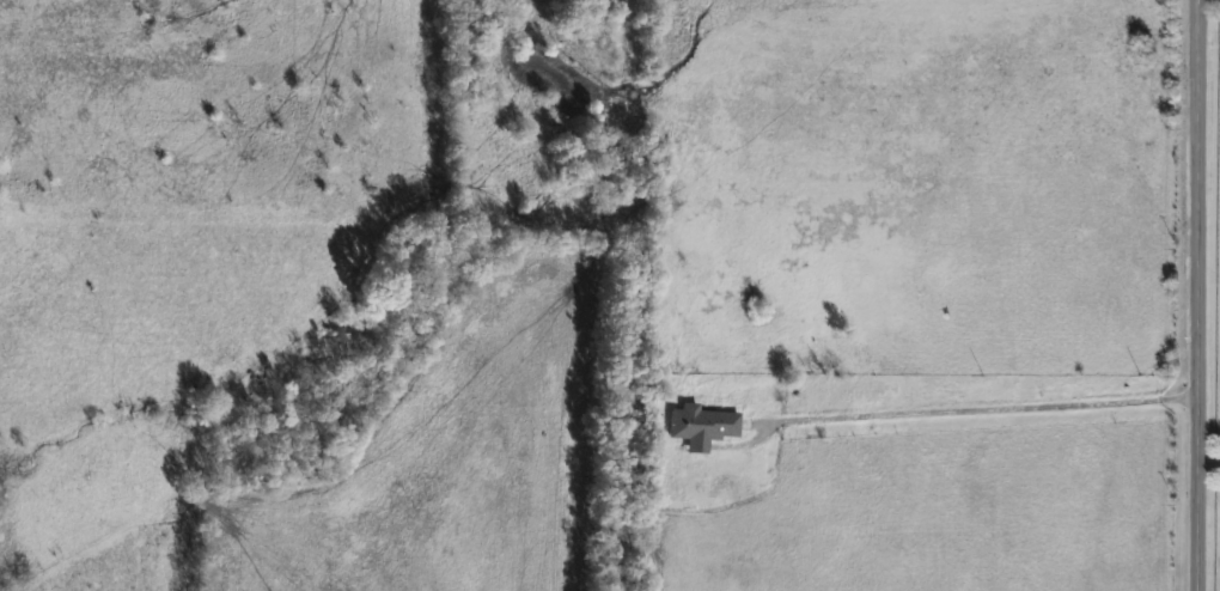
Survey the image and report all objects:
road: (1201, 295)
road: (984, 408)
building: (699, 426)
road: (1209, 464)

